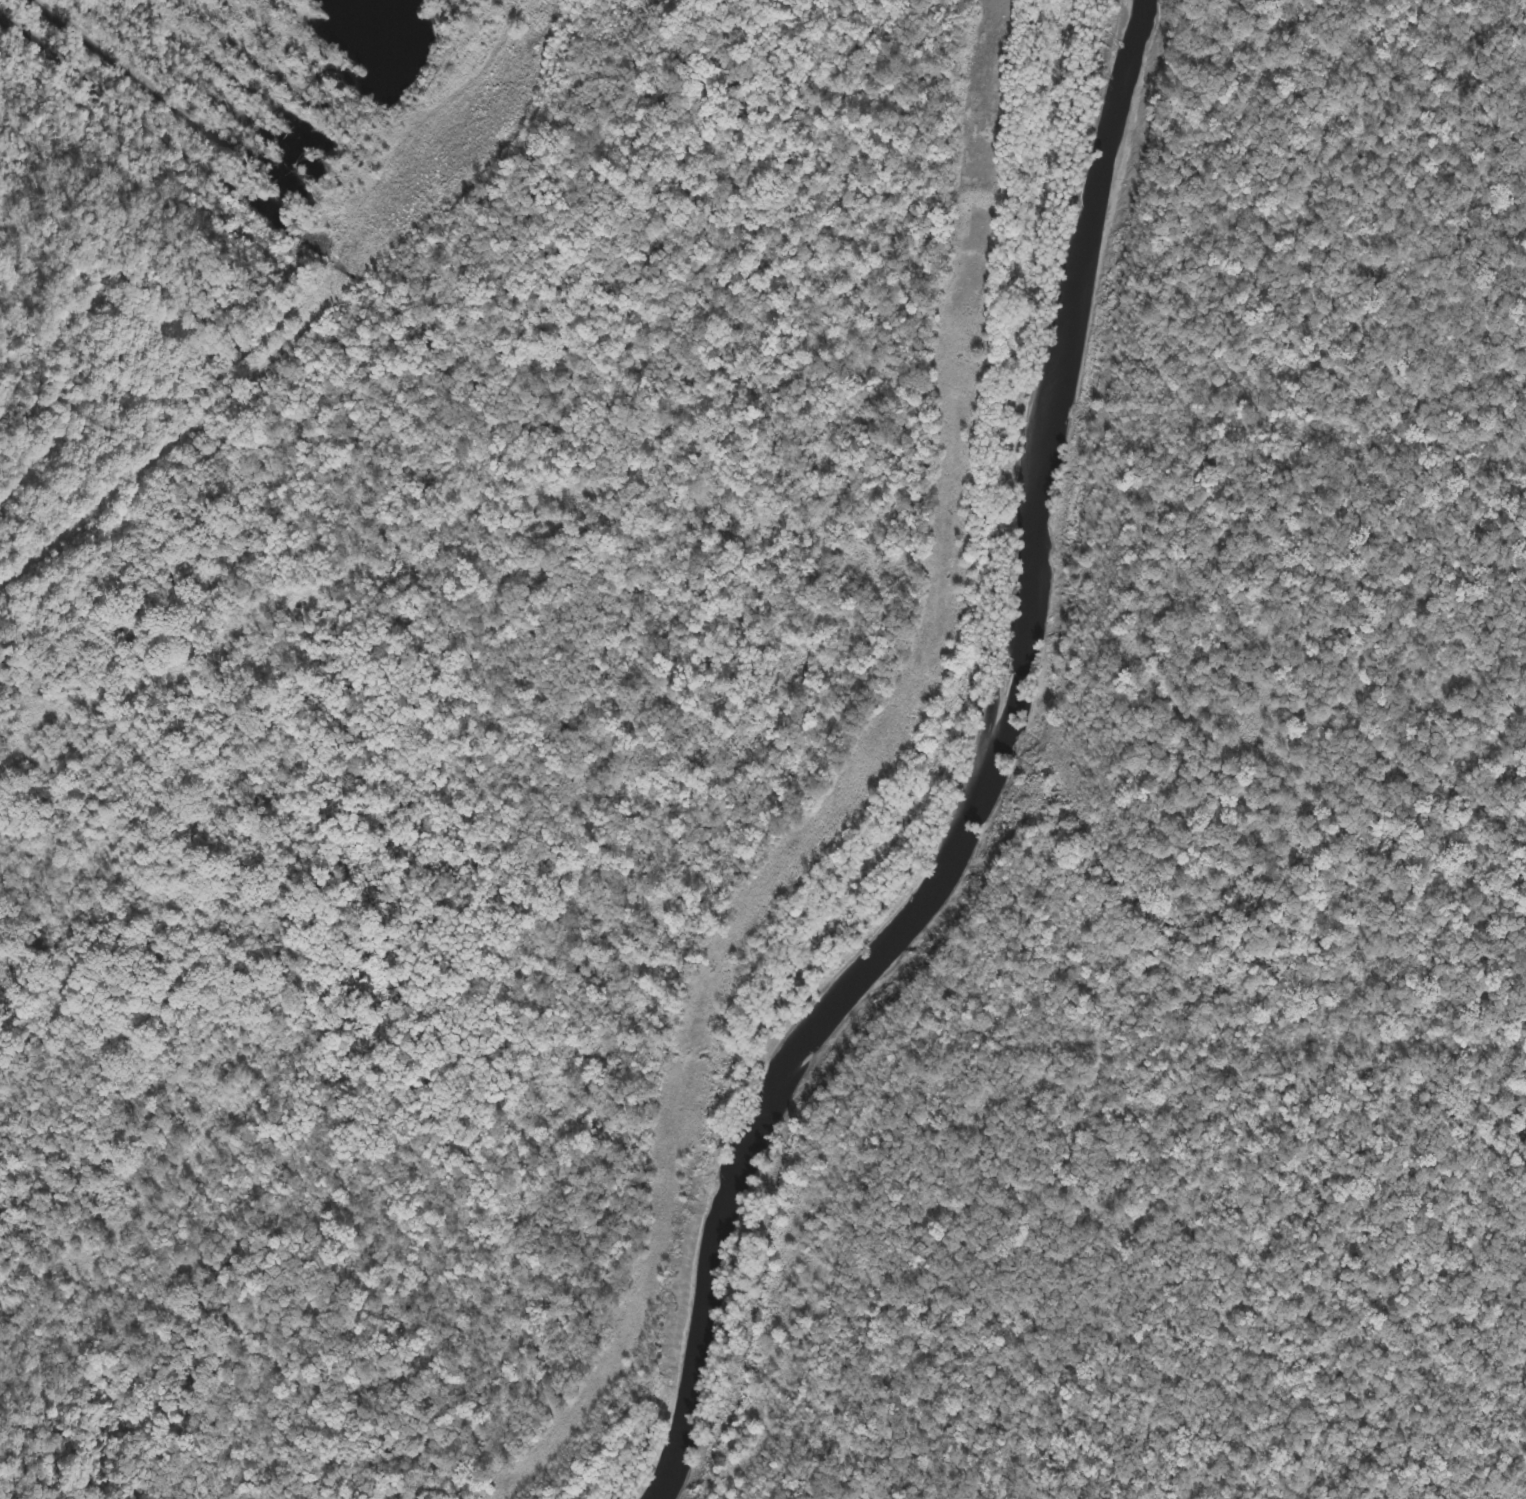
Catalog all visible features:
river: (961, 786)

